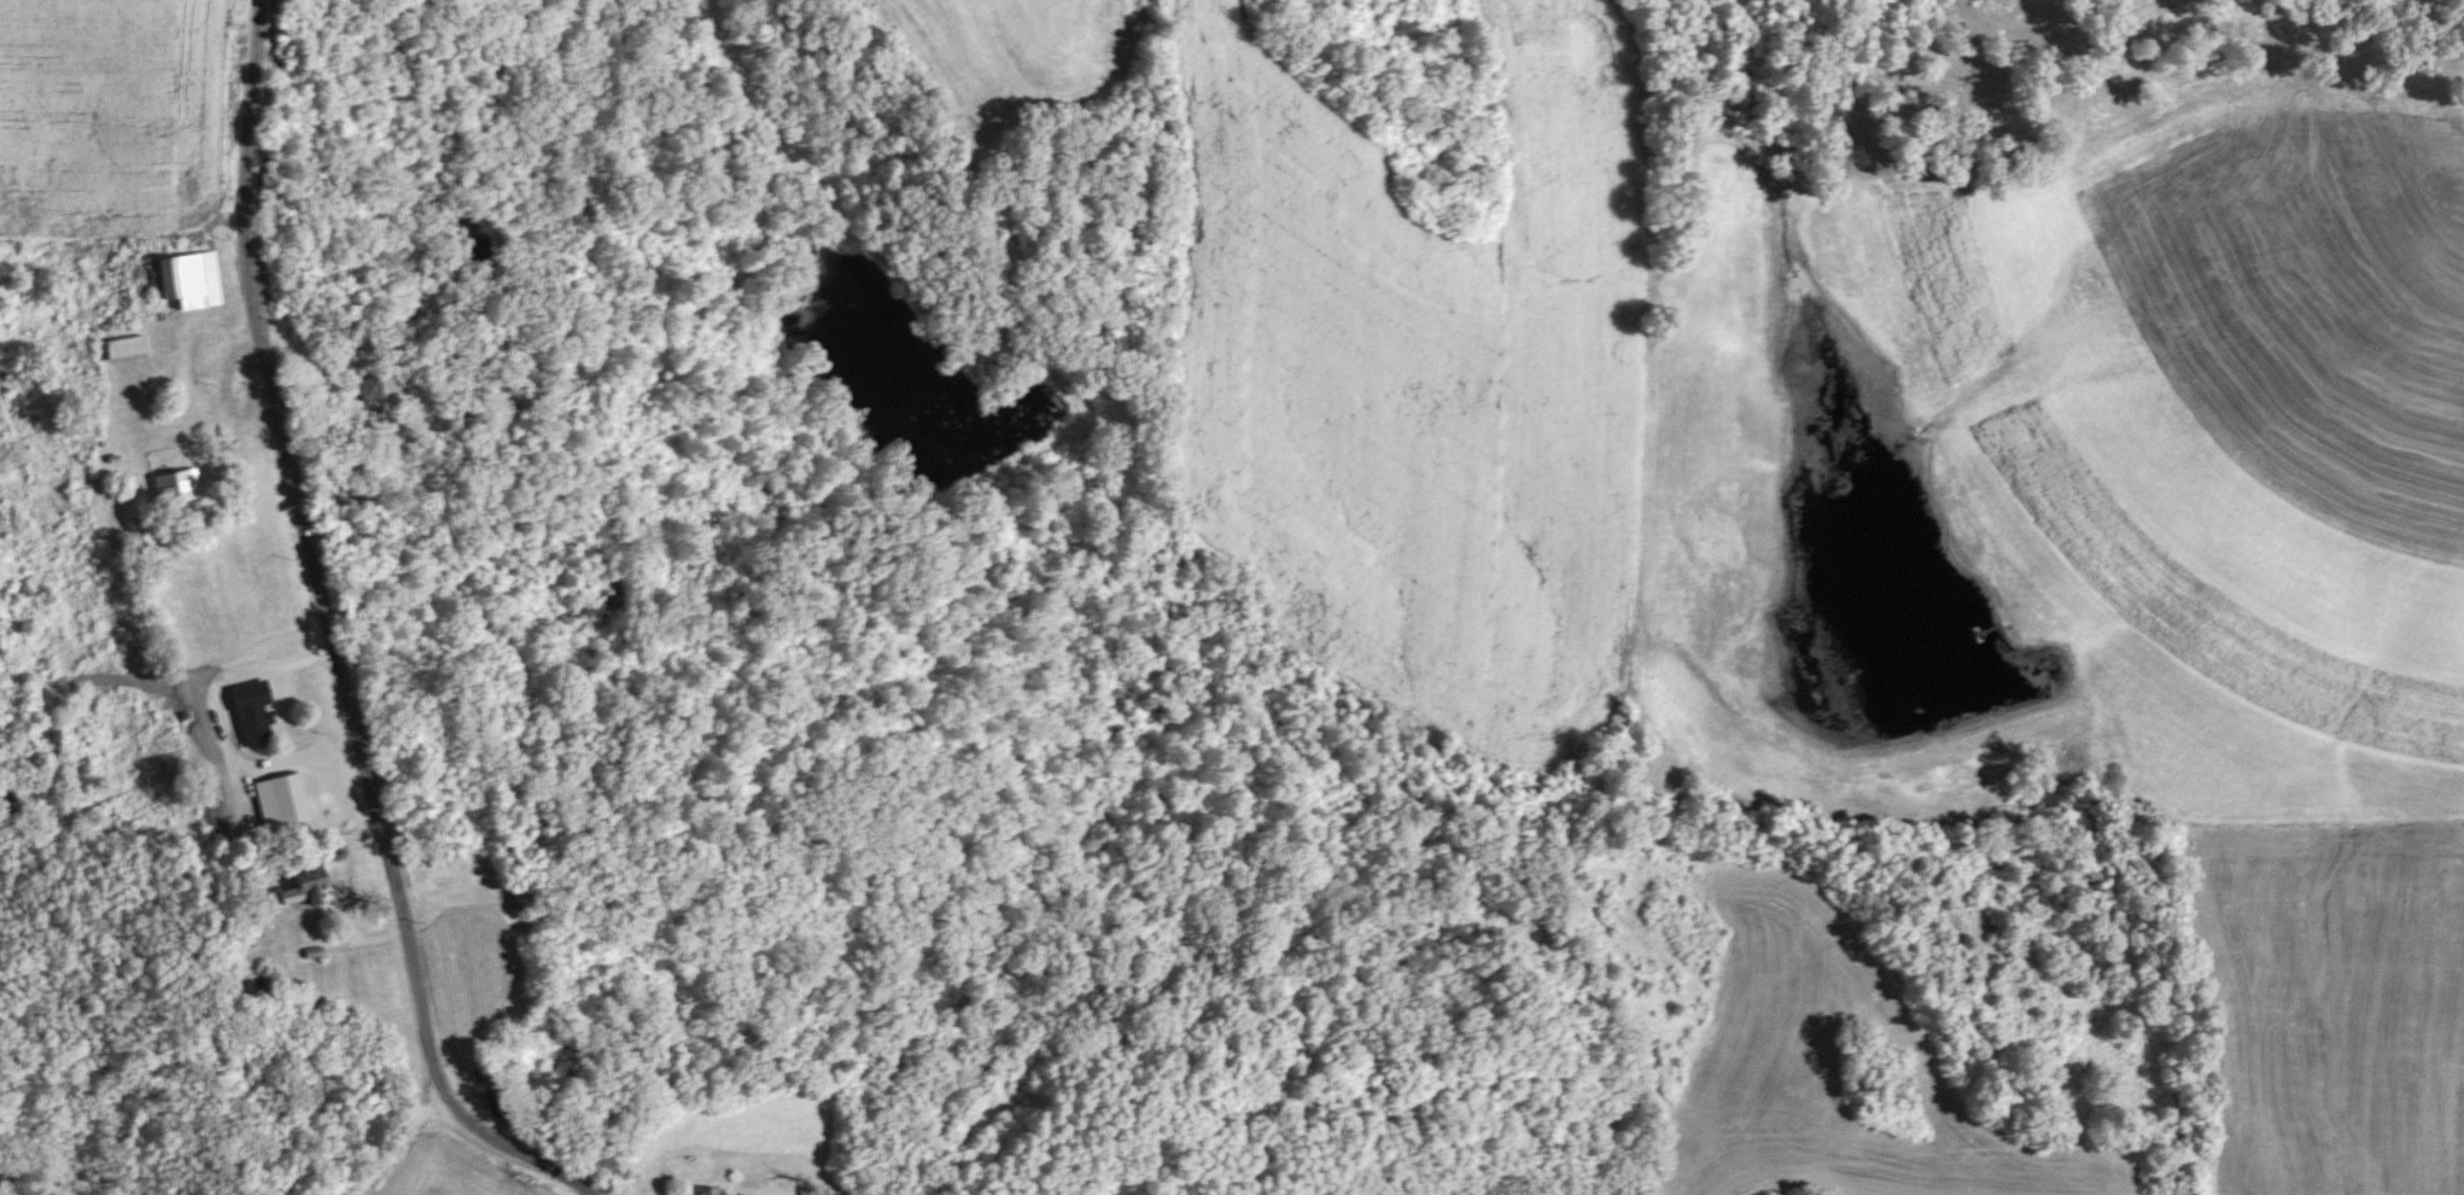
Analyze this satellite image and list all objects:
crop: (110, 123)
building: (188, 280)
building: (122, 349)
building: (175, 486)
road: (331, 639)
building: (252, 727)
building: (302, 886)
building: (522, 894)
building: (253, 986)
road: (395, 1138)
building: (702, 1190)

